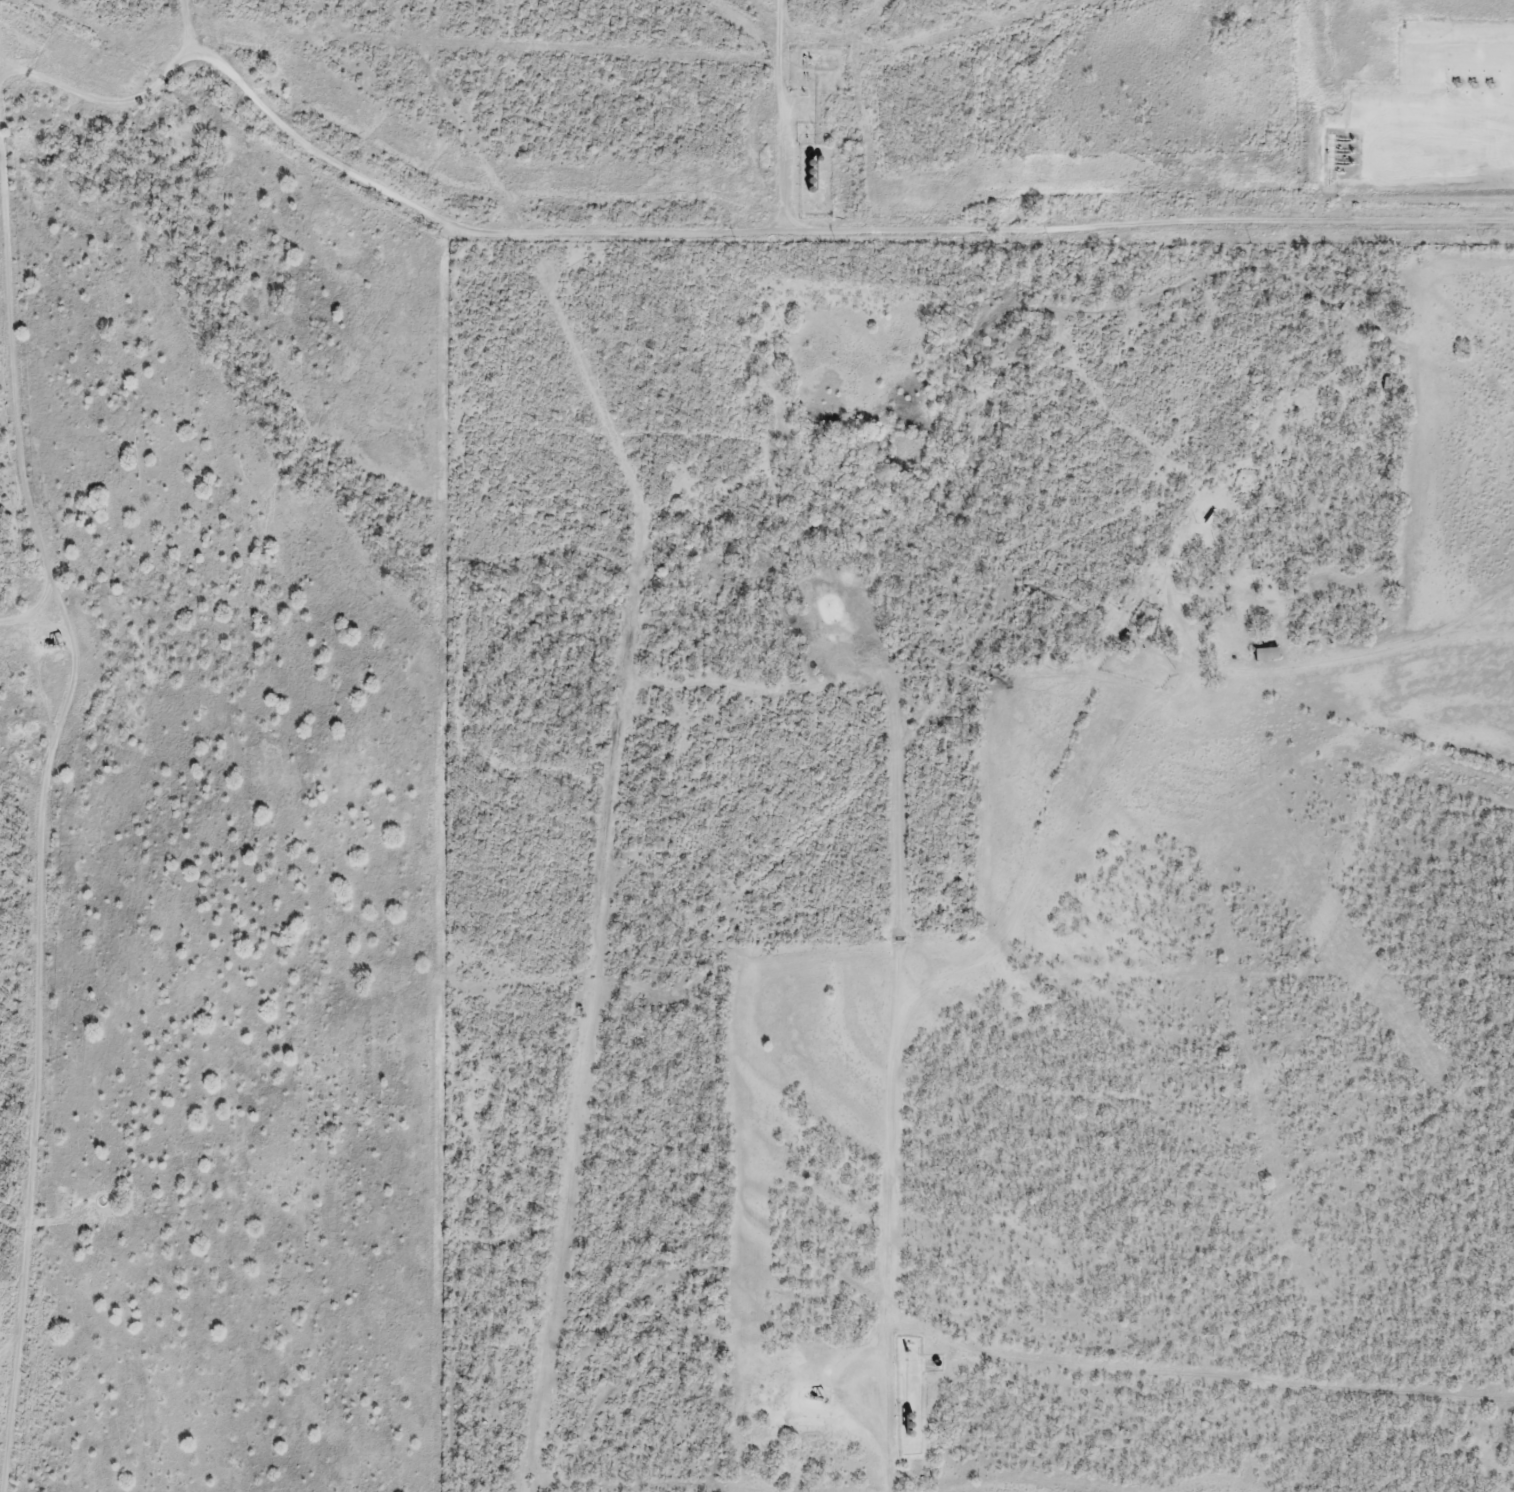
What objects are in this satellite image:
building: (1267, 654)

